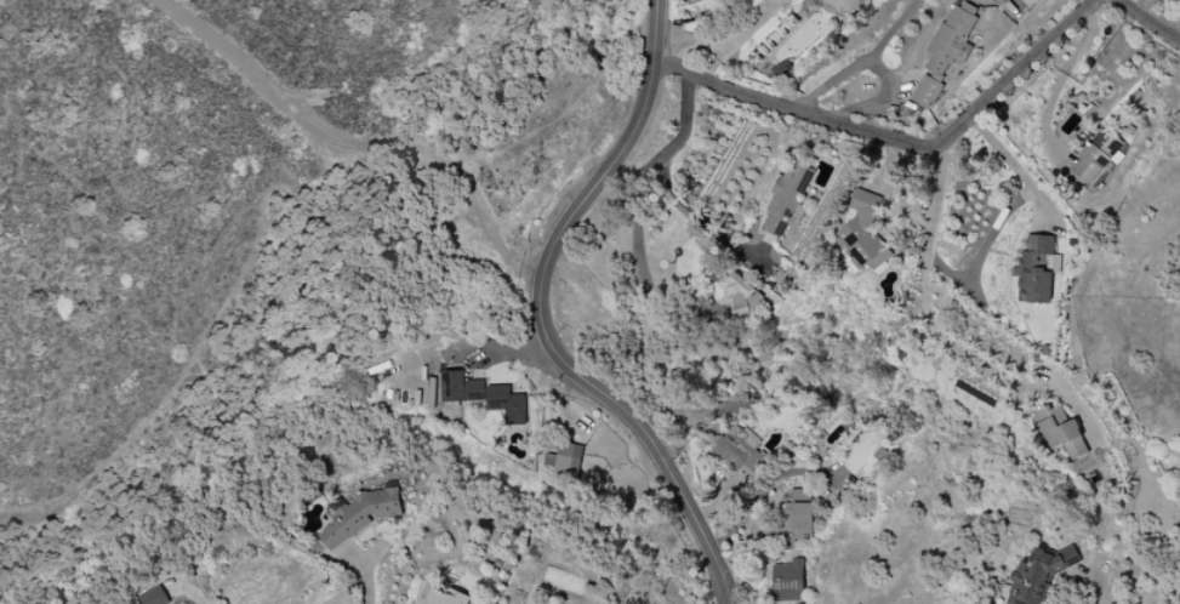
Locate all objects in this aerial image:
building: (861, 1)
road: (1150, 19)
road: (742, 38)
building: (946, 52)
road: (862, 63)
road: (877, 102)
road: (686, 118)
road: (894, 142)
road: (357, 144)
building: (1098, 154)
building: (788, 199)
road: (936, 200)
road: (691, 209)
road: (1008, 211)
building: (863, 233)
road: (638, 238)
building: (1037, 269)
building: (741, 290)
road: (540, 319)
road: (458, 349)
road: (969, 357)
building: (462, 388)
building: (507, 404)
building: (1062, 431)
building: (737, 449)
building: (565, 460)
road: (759, 491)
building: (359, 514)
building: (798, 517)
building: (1039, 575)
building: (788, 581)
road: (367, 586)
building: (153, 597)
building: (445, 597)

